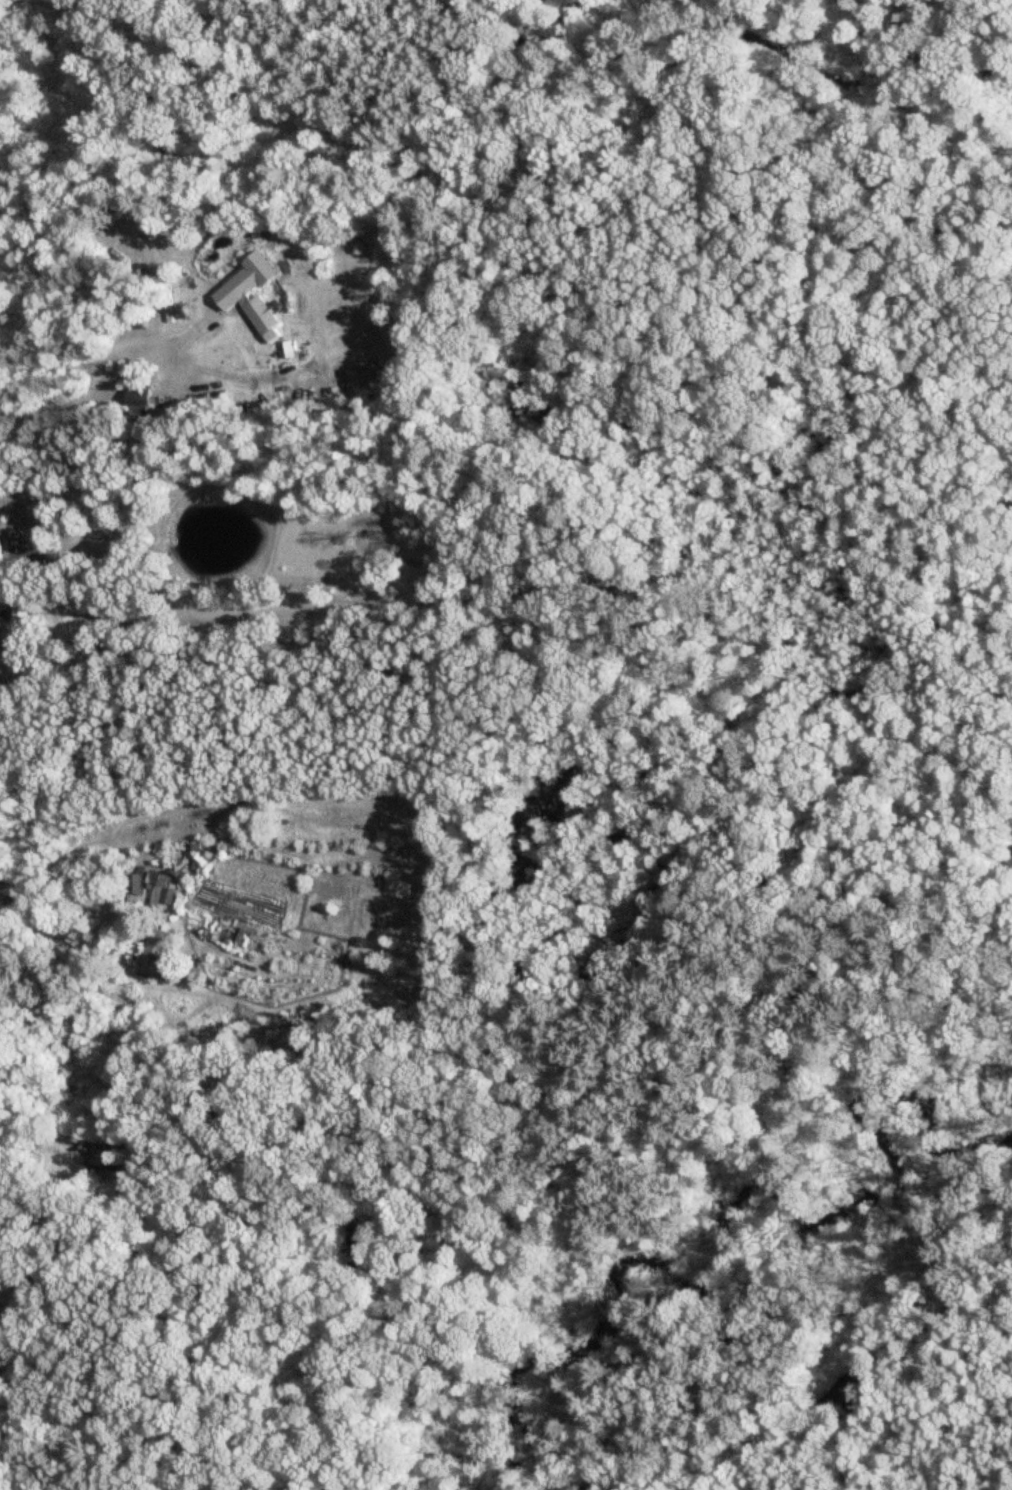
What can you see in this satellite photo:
building: (250, 293)
road: (101, 365)
building: (136, 399)
building: (160, 890)
building: (115, 900)
building: (152, 959)

